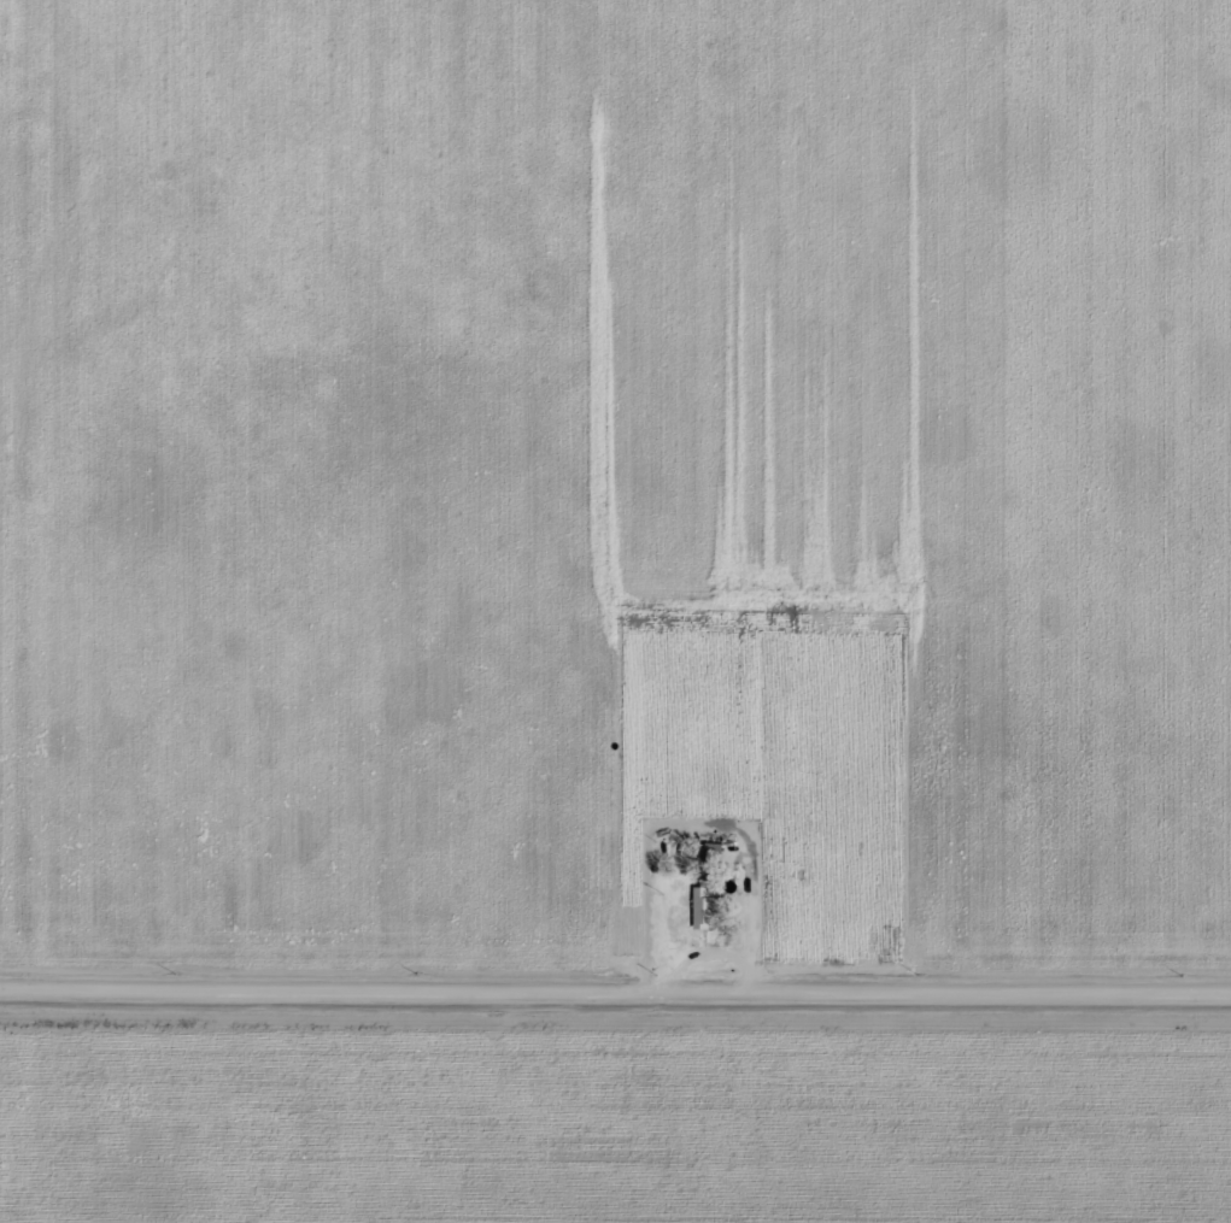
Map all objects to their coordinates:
road: (615, 953)

